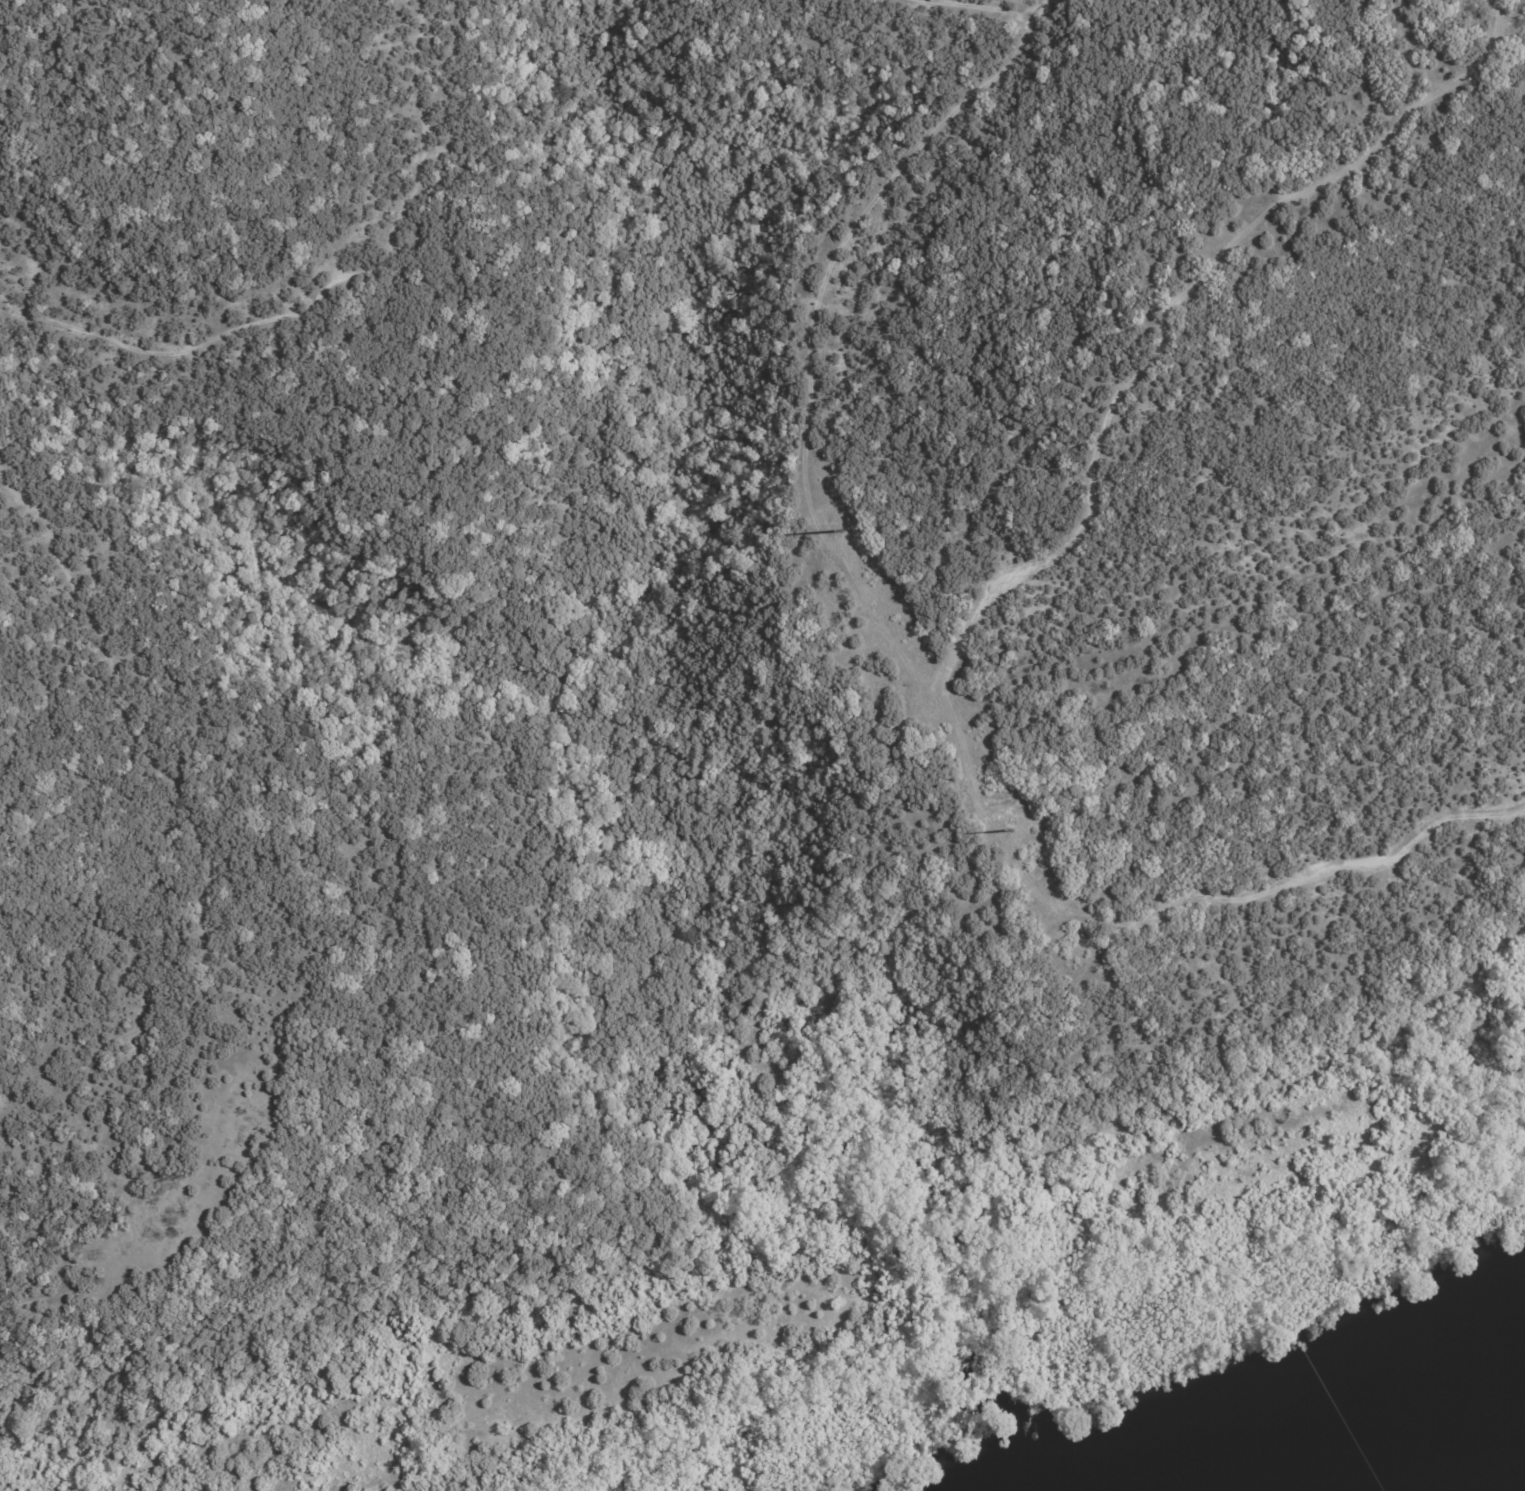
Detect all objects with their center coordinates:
power tower: (840, 531)
road: (972, 628)
power tower: (1011, 830)
river: (1422, 1435)

